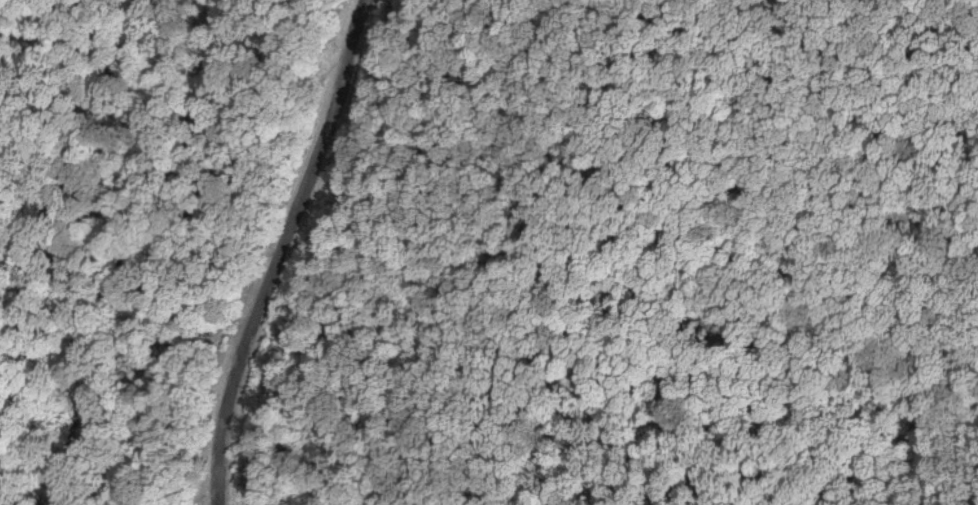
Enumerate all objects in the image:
road: (784, 1)
road: (891, 1)
road: (44, 135)
road: (541, 183)
road: (165, 242)
road: (276, 249)

